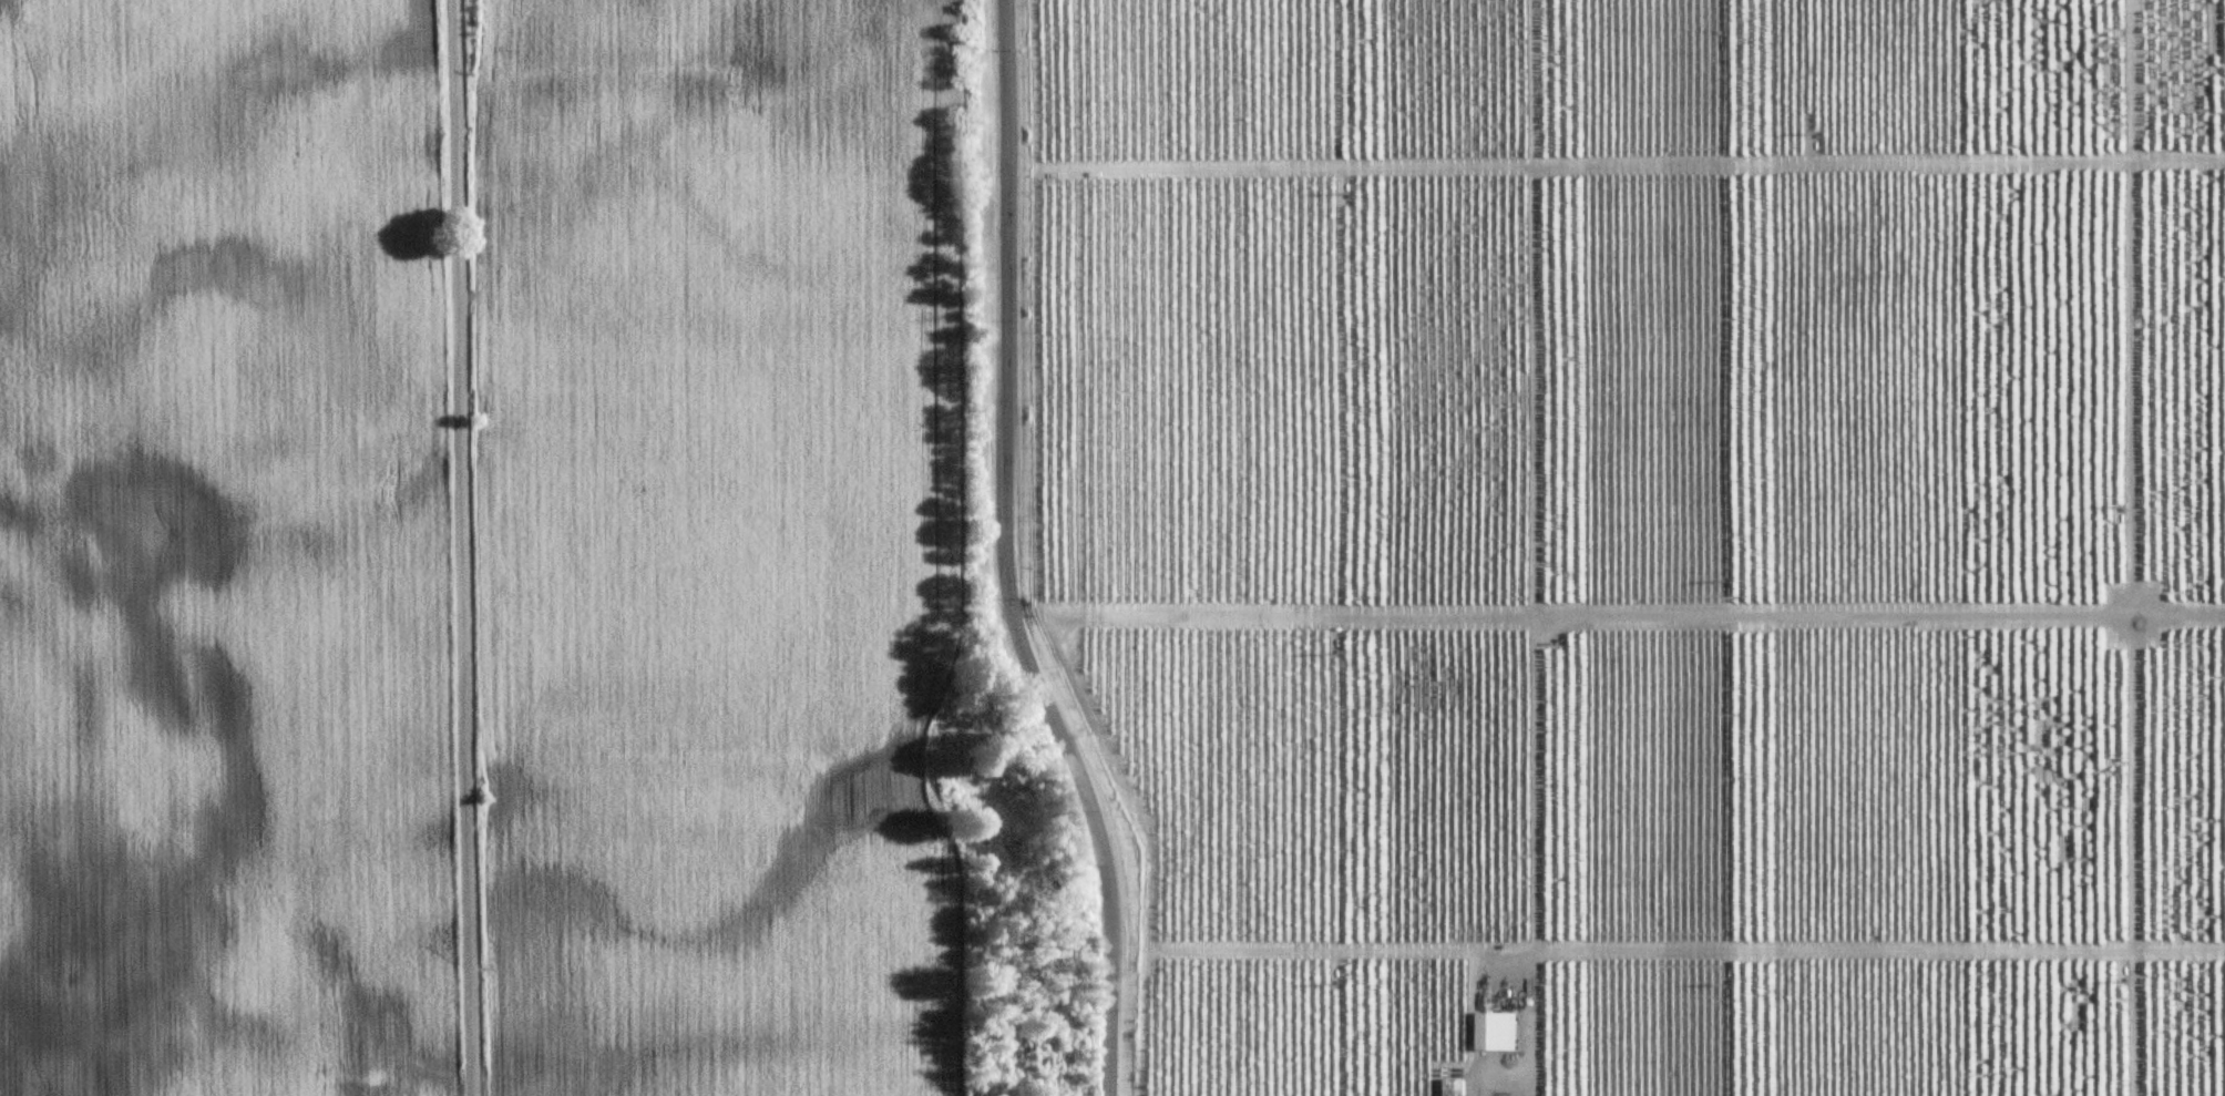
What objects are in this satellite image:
road: (464, 547)
road: (999, 560)
road: (1838, 615)
road: (2136, 616)
road: (1535, 632)
building: (1497, 1030)
road: (1501, 1079)
building: (1454, 1090)

